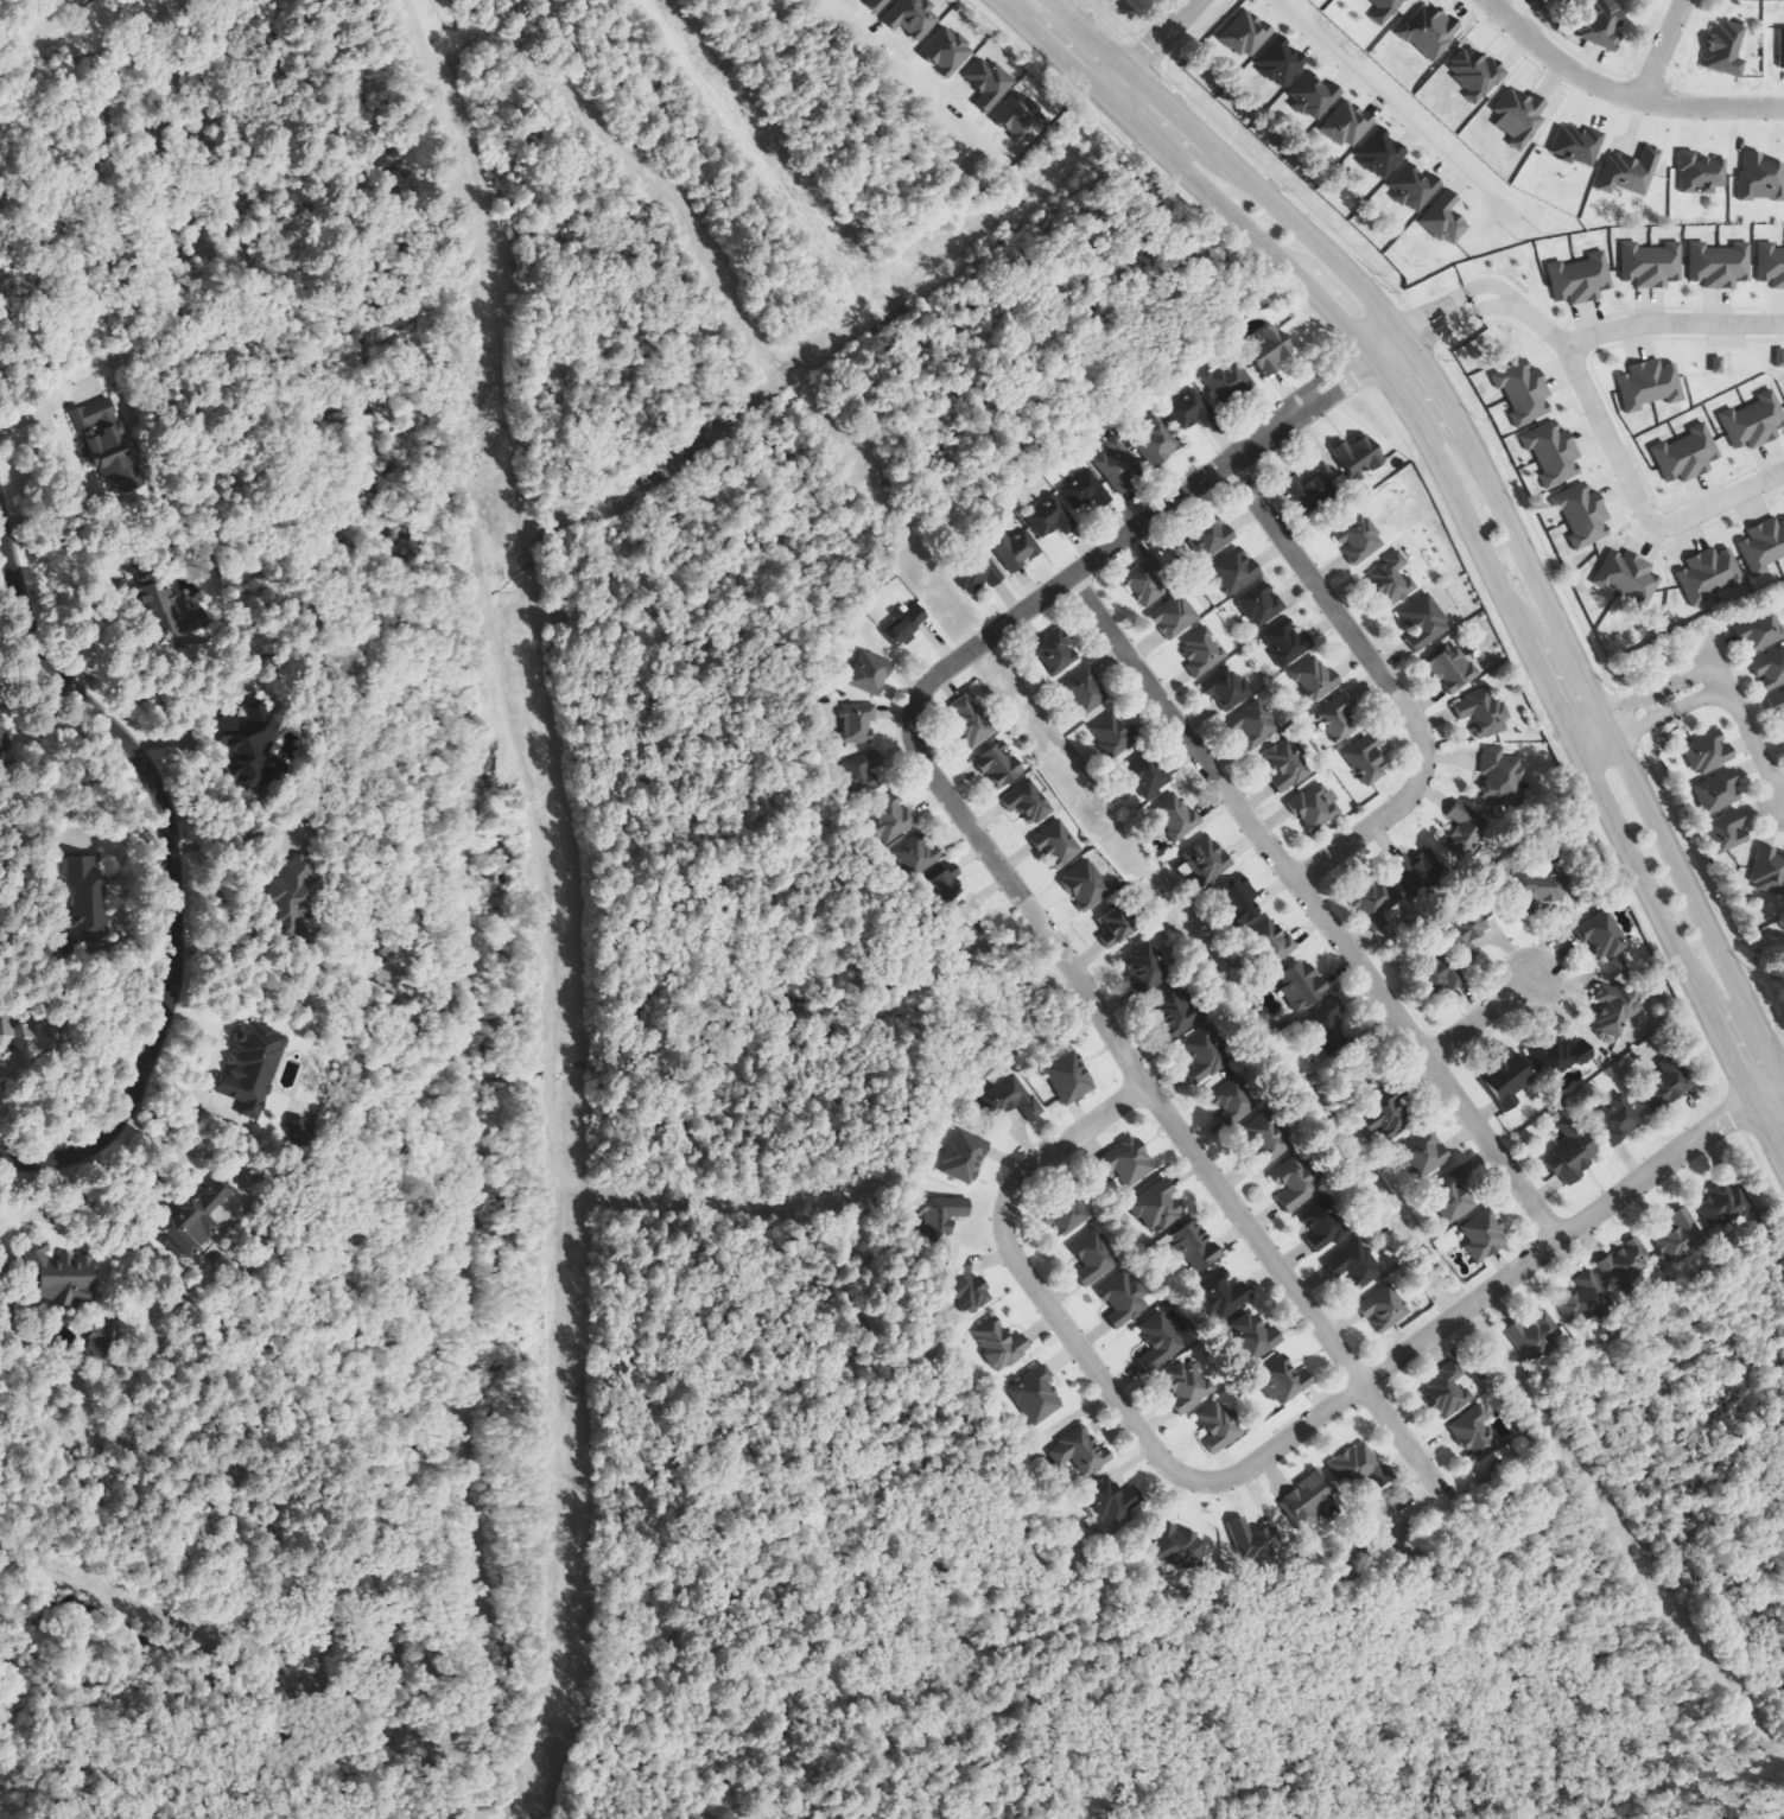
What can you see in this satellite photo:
building: (877, 4)
building: (1385, 11)
road: (1093, 14)
building: (913, 18)
building: (1602, 24)
building: (1429, 31)
building: (1245, 34)
building: (1780, 47)
building: (1725, 49)
road: (1148, 50)
road: (1655, 50)
building: (946, 51)
building: (1280, 63)
building: (1475, 74)
building: (989, 83)
building: (1313, 95)
road: (1618, 95)
road: (1392, 113)
building: (1518, 116)
building: (1018, 117)
building: (1346, 125)
building: (1576, 145)
building: (1379, 153)
building: (1629, 172)
building: (1700, 173)
building: (1760, 178)
building: (1412, 187)
building: (1445, 220)
building: (1651, 265)
building: (1719, 265)
building: (1771, 265)
building: (1580, 279)
road: (1484, 295)
road: (1671, 323)
building: (1269, 351)
building: (1779, 358)
building: (1718, 365)
building: (1229, 380)
building: (1650, 384)
building: (1524, 393)
building: (1192, 411)
building: (1754, 422)
building: (1158, 444)
building: (104, 446)
building: (1553, 454)
building: (1687, 456)
building: (1358, 457)
building: (1118, 465)
building: (1085, 490)
building: (1309, 491)
road: (1490, 492)
road: (1637, 503)
building: (1582, 515)
building: (1049, 517)
road: (1467, 530)
building: (1213, 539)
building: (1359, 540)
building: (1764, 547)
building: (1016, 548)
building: (1234, 571)
building: (979, 575)
building: (1708, 575)
building: (1629, 577)
building: (1391, 581)
building: (1147, 584)
building: (1261, 604)
building: (163, 606)
building: (1175, 617)
building: (1423, 623)
building: (906, 624)
building: (1760, 632)
building: (1287, 642)
building: (1056, 653)
building: (1202, 653)
road: (1708, 654)
building: (1450, 668)
building: (1771, 670)
building: (870, 674)
road: (1709, 678)
road: (1384, 679)
building: (1314, 680)
building: (1227, 688)
building: (1085, 692)
building: (1778, 707)
building: (1484, 713)
building: (1339, 719)
building: (971, 723)
building: (857, 724)
building: (1255, 725)
building: (1112, 736)
building: (4, 738)
building: (252, 745)
building: (1708, 753)
building: (1367, 758)
building: (999, 767)
building: (1288, 767)
building: (1500, 775)
building: (865, 776)
building: (1148, 776)
building: (1718, 793)
building: (1028, 802)
building: (1316, 807)
building: (1176, 818)
building: (893, 819)
building: (1464, 828)
building: (1728, 832)
road: (989, 844)
building: (1058, 845)
building: (914, 856)
building: (1204, 861)
road: (166, 865)
building: (1421, 872)
building: (1769, 873)
building: (1086, 885)
building: (297, 890)
building: (944, 890)
building: (1537, 891)
building: (80, 895)
road: (1316, 907)
building: (1379, 909)
building: (1255, 921)
building: (1115, 929)
building: (1601, 936)
building: (1143, 969)
building: (1443, 974)
building: (1301, 986)
building: (1617, 1007)
building: (1174, 1013)
road: (1484, 1016)
building: (1327, 1020)
building: (20, 1037)
building: (1206, 1056)
building: (1561, 1056)
building: (254, 1069)
building: (1069, 1079)
building: (1509, 1079)
building: (1669, 1083)
road: (1783, 1088)
building: (1010, 1099)
building: (1232, 1101)
building: (1390, 1113)
building: (1617, 1120)
building: (1269, 1139)
building: (1424, 1155)
building: (1572, 1155)
building: (965, 1158)
building: (1131, 1162)
building: (1295, 1184)
building: (1454, 1196)
building: (1725, 1207)
building: (1158, 1208)
building: (945, 1215)
building: (1069, 1219)
building: (196, 1221)
building: (1323, 1226)
building: (1484, 1236)
building: (1680, 1236)
building: (1195, 1249)
building: (1093, 1258)
building: (1354, 1265)
building: (1624, 1265)
building: (62, 1274)
building: (969, 1290)
building: (1223, 1295)
building: (1124, 1300)
building: (1582, 1302)
building: (1384, 1309)
building: (1255, 1336)
building: (1535, 1337)
building: (1158, 1342)
building: (1001, 1344)
building: (100, 1347)
building: (1283, 1381)
building: (1188, 1386)
building: (1447, 1392)
building: (1036, 1397)
building: (1219, 1427)
building: (1477, 1436)
road: (1274, 1452)
building: (1081, 1455)
building: (1359, 1467)
building: (1401, 1499)
building: (1113, 1500)
building: (1308, 1500)
building: (1255, 1541)
building: (1180, 1546)

